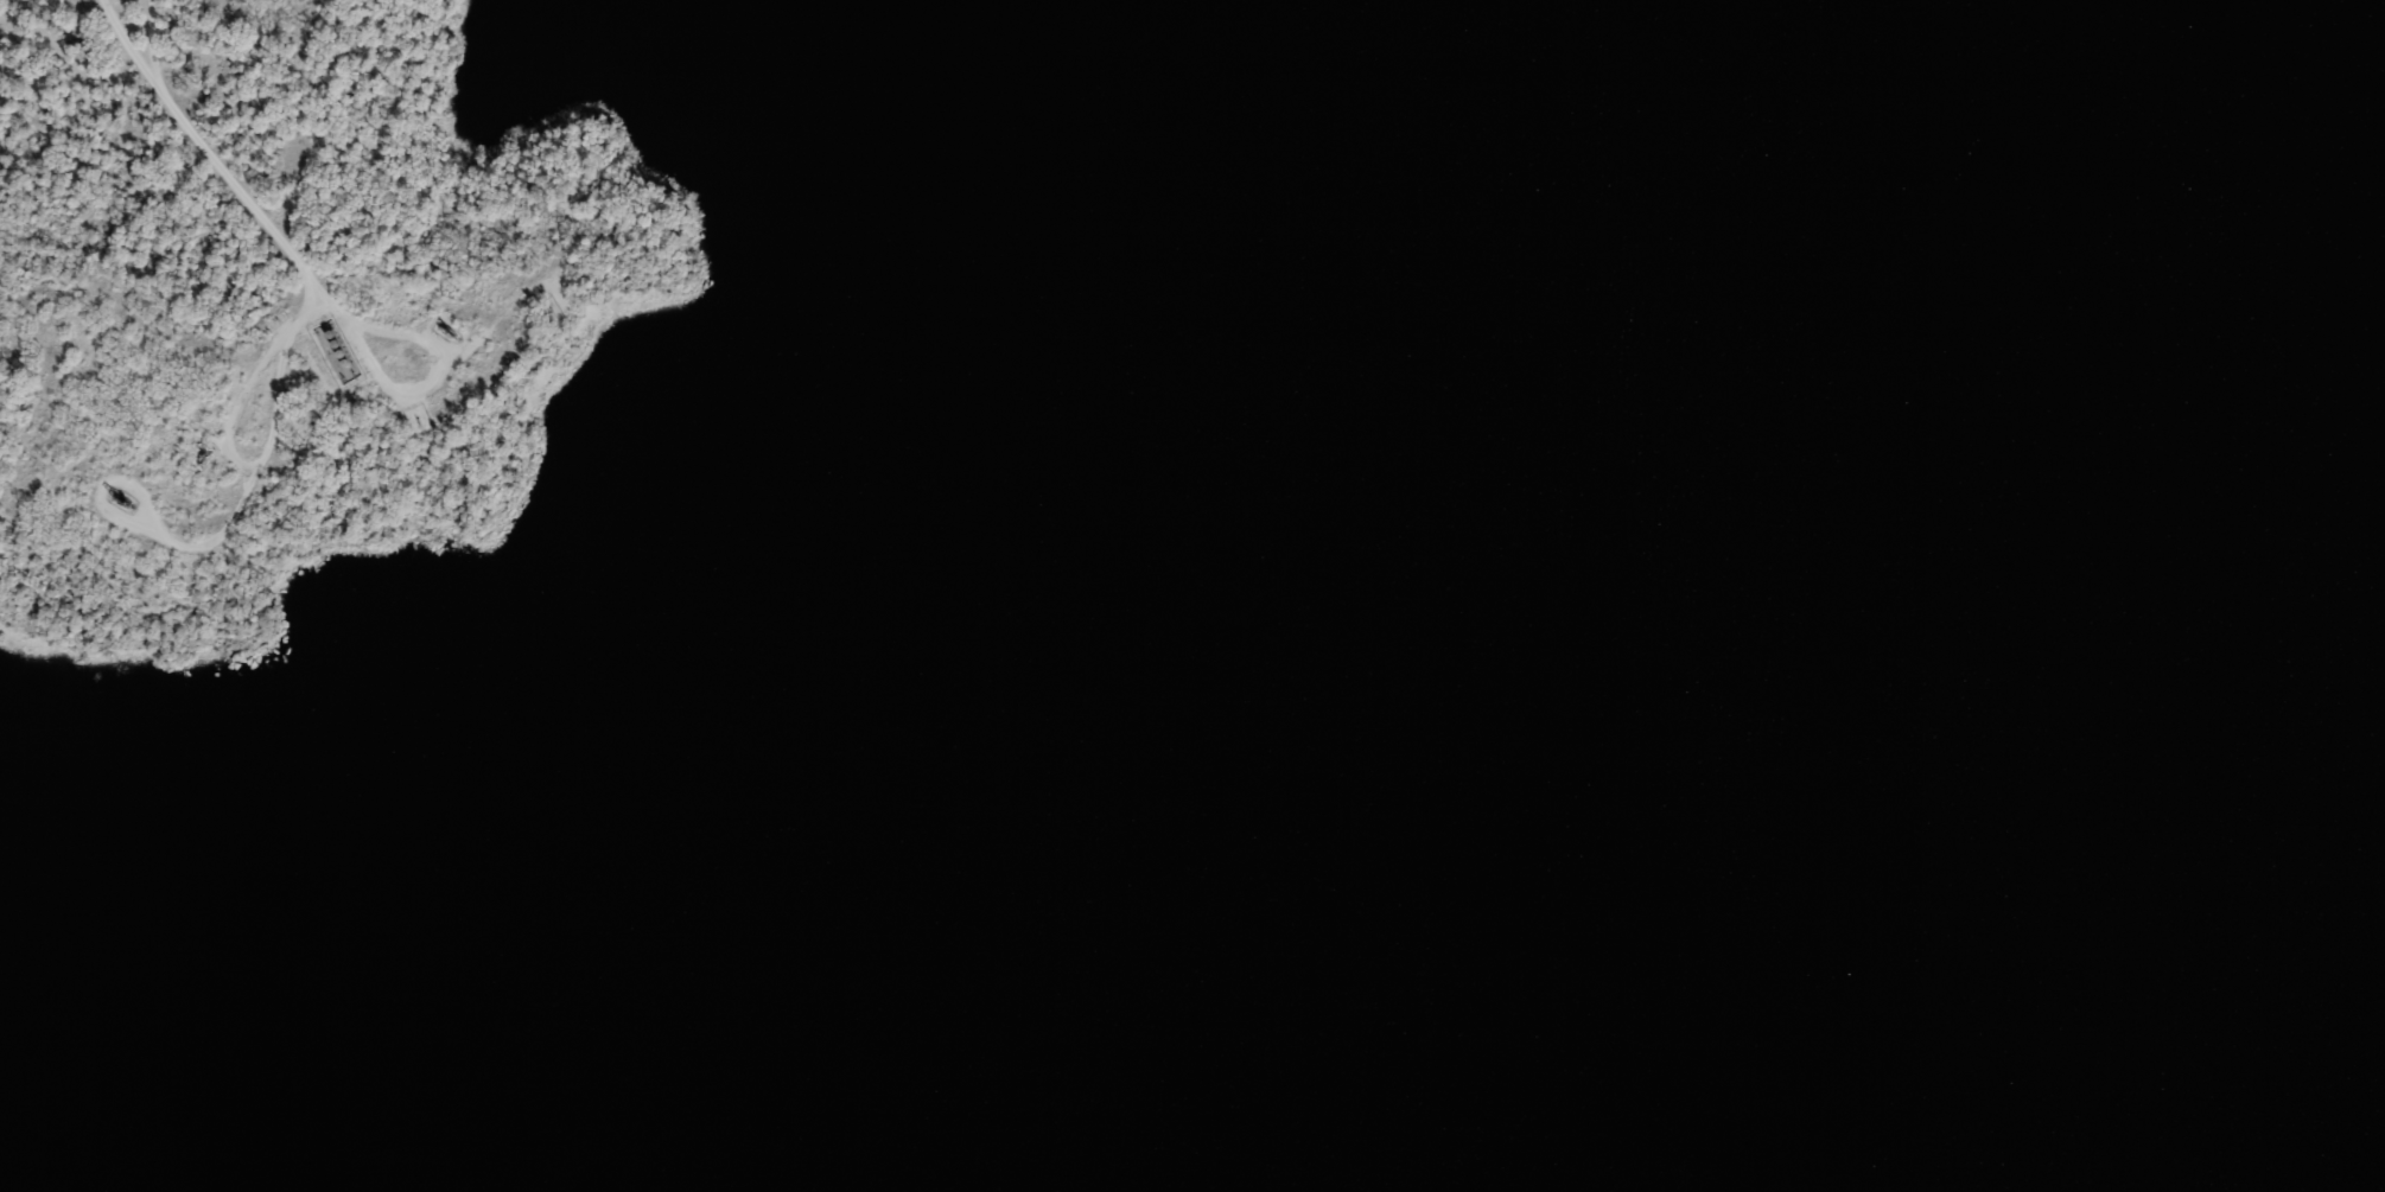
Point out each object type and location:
road: (152, 50)
road: (212, 162)
building: (338, 353)
building: (324, 366)
park: (388, 369)
road: (432, 380)
road: (241, 403)
road: (229, 525)

